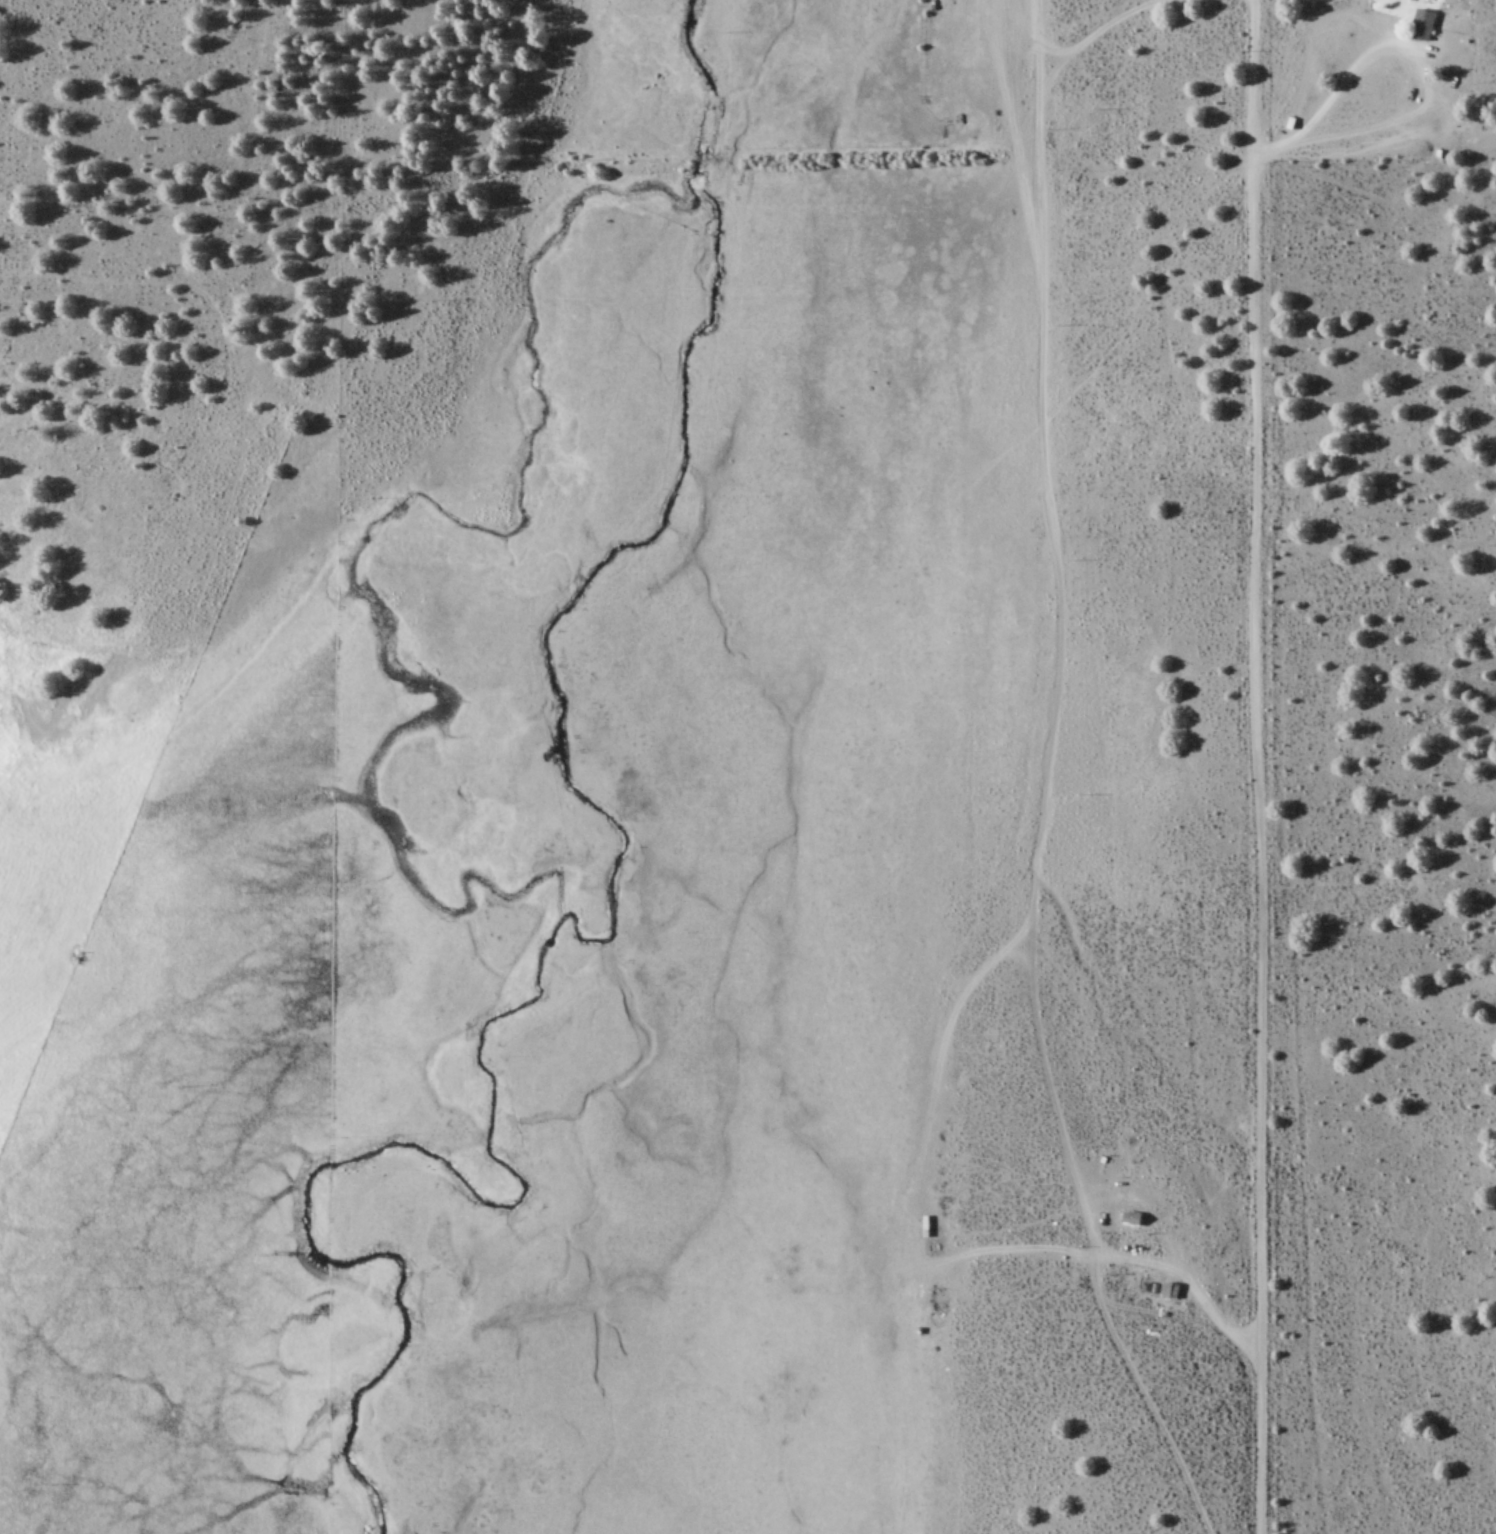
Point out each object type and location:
building: (1426, 26)
road: (1422, 88)
road: (1252, 766)
building: (1133, 1220)

